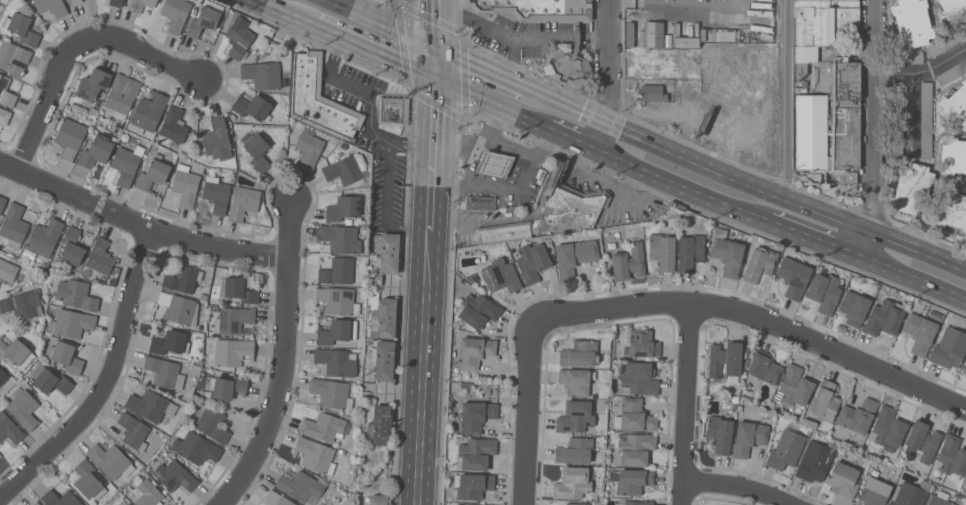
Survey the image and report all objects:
building: (73, 1)
building: (115, 2)
road: (666, 3)
building: (139, 4)
building: (51, 6)
building: (535, 9)
building: (953, 9)
building: (175, 14)
road: (286, 14)
building: (205, 18)
building: (912, 22)
road: (386, 23)
road: (438, 23)
road: (477, 23)
building: (819, 27)
building: (22, 28)
building: (629, 33)
building: (654, 35)
building: (717, 35)
building: (239, 37)
road: (543, 41)
building: (685, 41)
building: (947, 41)
traffic signals: (438, 46)
road: (82, 51)
road: (373, 51)
building: (13, 57)
building: (906, 58)
road: (437, 63)
road: (483, 66)
building: (566, 67)
building: (951, 72)
road: (923, 73)
building: (262, 74)
road: (610, 77)
traffic signals: (437, 80)
building: (93, 84)
road: (360, 90)
building: (6, 92)
building: (652, 92)
building: (121, 95)
building: (319, 97)
road: (788, 98)
road: (491, 104)
building: (251, 105)
building: (955, 107)
building: (393, 109)
building: (93, 111)
building: (147, 112)
road: (912, 113)
building: (4, 116)
building: (896, 119)
building: (926, 119)
building: (173, 124)
building: (810, 131)
building: (841, 131)
road: (875, 131)
building: (69, 138)
road: (572, 139)
building: (216, 140)
road: (477, 141)
road: (413, 146)
building: (99, 147)
building: (308, 147)
road: (508, 148)
building: (257, 152)
road: (433, 154)
building: (953, 155)
building: (126, 162)
building: (494, 163)
building: (346, 168)
building: (152, 174)
road: (747, 178)
road: (504, 183)
building: (185, 185)
road: (682, 186)
building: (911, 187)
building: (216, 194)
building: (2, 202)
building: (243, 202)
building: (480, 202)
road: (385, 205)
building: (342, 208)
building: (949, 208)
building: (672, 210)
building: (552, 213)
road: (138, 221)
building: (348, 221)
building: (14, 225)
building: (44, 236)
building: (339, 238)
road: (819, 241)
building: (71, 248)
building: (387, 251)
building: (662, 251)
building: (690, 251)
building: (726, 252)
building: (29, 254)
building: (100, 256)
building: (574, 256)
building: (532, 261)
building: (628, 262)
building: (759, 263)
building: (337, 270)
building: (7, 271)
building: (86, 273)
building: (500, 275)
building: (794, 276)
building: (183, 279)
road: (919, 282)
building: (239, 290)
building: (824, 292)
building: (76, 294)
building: (203, 296)
building: (338, 300)
building: (23, 304)
building: (853, 307)
building: (179, 308)
building: (215, 309)
building: (478, 310)
building: (386, 317)
building: (884, 317)
road: (757, 318)
building: (233, 319)
building: (71, 323)
building: (201, 326)
building: (336, 331)
building: (919, 332)
building: (169, 342)
building: (641, 343)
building: (949, 347)
building: (16, 351)
building: (233, 351)
building: (474, 351)
building: (579, 353)
building: (66, 355)
road: (283, 359)
building: (383, 359)
building: (724, 359)
building: (336, 361)
building: (965, 365)
building: (764, 366)
road: (423, 367)
building: (163, 371)
building: (2, 377)
building: (638, 378)
building: (50, 380)
road: (108, 381)
building: (575, 381)
building: (228, 386)
building: (793, 386)
building: (330, 393)
building: (824, 400)
road: (685, 402)
building: (150, 405)
building: (23, 407)
road: (529, 414)
building: (857, 415)
building: (472, 416)
building: (634, 416)
building: (576, 417)
building: (212, 424)
building: (380, 425)
building: (325, 426)
building: (9, 428)
building: (888, 428)
building: (133, 431)
building: (719, 433)
building: (749, 437)
building: (922, 440)
building: (196, 447)
building: (635, 447)
building: (786, 448)
building: (574, 450)
building: (476, 453)
building: (314, 455)
building: (952, 455)
building: (110, 459)
building: (813, 461)
building: (174, 475)
building: (843, 479)
building: (965, 479)
building: (88, 480)
building: (631, 480)
building: (572, 482)
building: (472, 485)
building: (302, 486)
road: (736, 488)
building: (874, 490)
building: (147, 493)
building: (910, 494)
building: (60, 498)
building: (277, 499)
building: (377, 499)
building: (939, 499)
building: (638, 502)
building: (36, 503)
building: (123, 503)
building: (577, 503)
building: (467, 504)
building: (490, 504)

